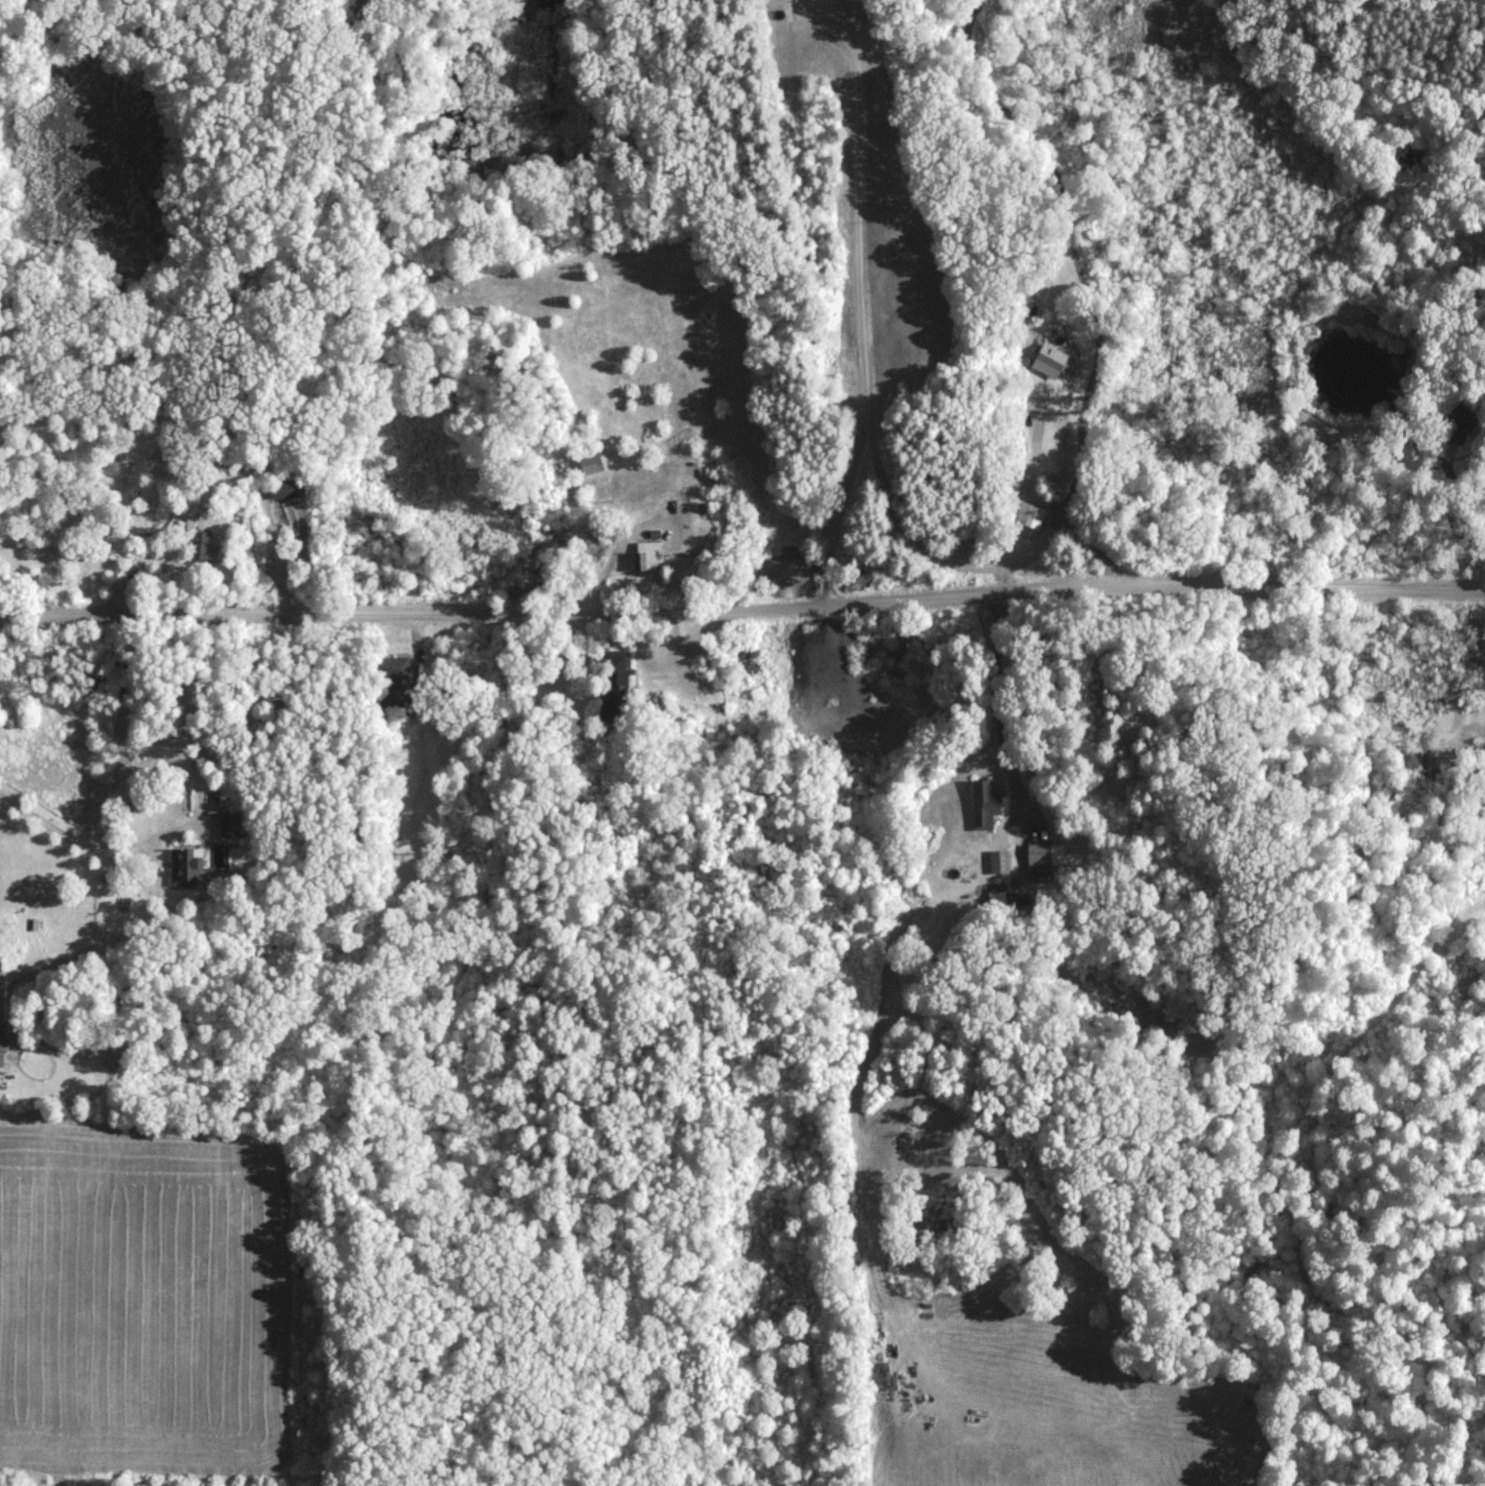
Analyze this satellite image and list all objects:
road: (849, 57)
road: (1079, 288)
road: (860, 342)
building: (1041, 362)
road: (1031, 465)
building: (591, 469)
road: (1453, 485)
building: (283, 495)
road: (888, 511)
building: (1029, 521)
building: (208, 553)
road: (611, 555)
road: (1005, 557)
building: (646, 561)
road: (742, 616)
building: (743, 665)
building: (393, 676)
building: (615, 690)
road: (994, 718)
building: (984, 811)
building: (230, 829)
road: (75, 845)
building: (1044, 862)
building: (999, 866)
building: (185, 872)
building: (2, 1057)
road: (1300, 1211)

